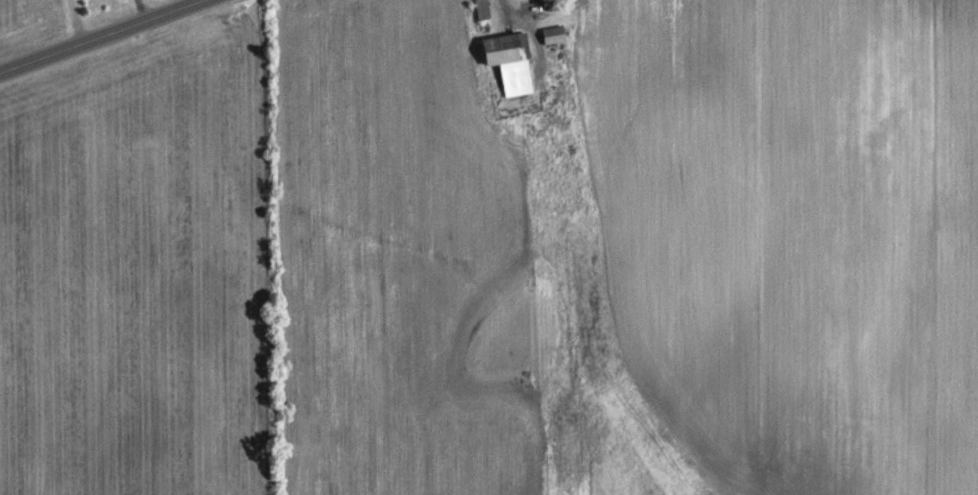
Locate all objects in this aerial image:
building: (551, 34)
road: (114, 40)
building: (509, 60)
crop: (786, 231)
crop: (409, 259)
crop: (135, 276)

